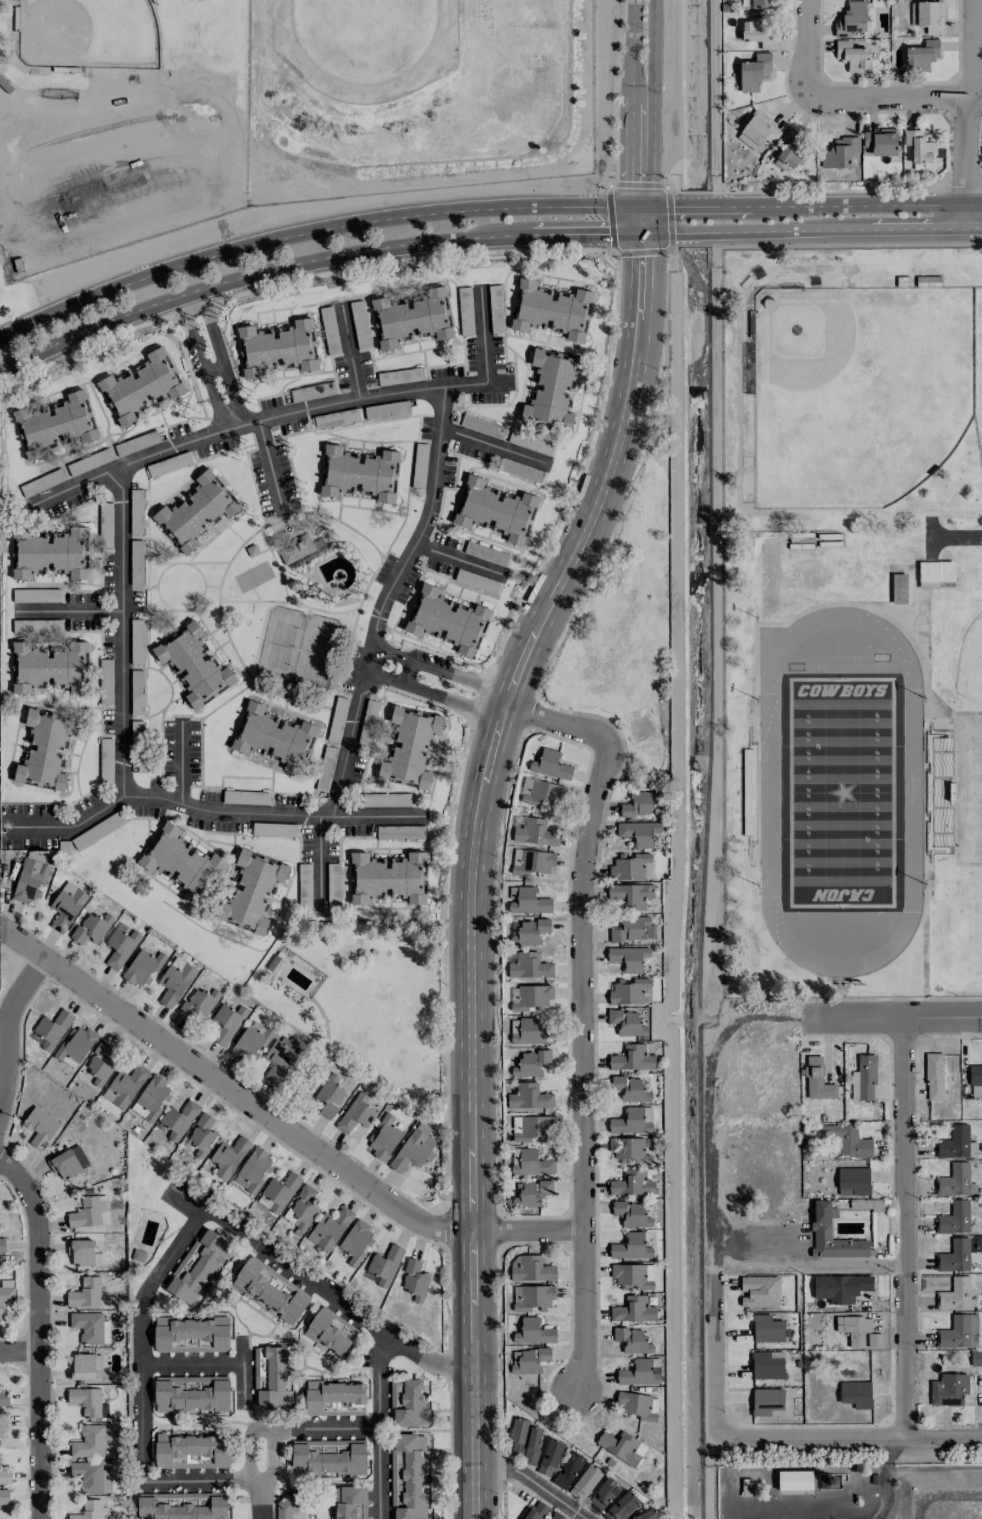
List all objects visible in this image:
building: (763, 3)
building: (930, 16)
building: (851, 18)
building: (758, 31)
park: (135, 34)
track: (366, 41)
road: (808, 52)
building: (922, 54)
building: (852, 55)
building: (754, 71)
road: (612, 92)
road: (714, 95)
road: (970, 101)
road: (895, 102)
road: (632, 103)
road: (649, 103)
building: (758, 131)
building: (881, 141)
building: (919, 145)
building: (789, 149)
building: (840, 152)
road: (846, 203)
road: (660, 205)
road: (696, 206)
road: (965, 215)
road: (641, 218)
road: (846, 229)
road: (310, 231)
road: (661, 232)
road: (696, 232)
road: (614, 245)
road: (311, 260)
road: (616, 274)
building: (551, 308)
building: (412, 317)
road: (664, 330)
building: (278, 347)
road: (354, 352)
road: (213, 358)
park: (979, 382)
building: (141, 385)
building: (552, 389)
park: (858, 390)
road: (293, 412)
building: (55, 424)
road: (495, 446)
road: (270, 465)
building: (360, 472)
building: (494, 509)
building: (197, 510)
building: (296, 549)
building: (49, 552)
road: (459, 558)
building: (937, 572)
building: (900, 588)
road: (389, 599)
road: (72, 610)
road: (718, 616)
building: (448, 620)
road: (122, 630)
park: (971, 663)
building: (194, 664)
building: (49, 666)
building: (106, 668)
road: (380, 677)
road: (448, 693)
building: (272, 736)
building: (410, 747)
building: (45, 749)
road: (180, 762)
building: (550, 764)
building: (527, 784)
building: (544, 795)
building: (641, 803)
road: (208, 811)
building: (639, 831)
building: (535, 832)
road: (320, 860)
road: (471, 860)
building: (181, 861)
building: (531, 861)
building: (632, 866)
building: (31, 877)
building: (387, 877)
building: (251, 891)
building: (630, 894)
road: (675, 894)
building: (529, 901)
building: (66, 905)
building: (91, 927)
building: (634, 929)
building: (527, 931)
building: (120, 946)
building: (629, 957)
building: (529, 965)
building: (143, 967)
building: (175, 980)
building: (631, 991)
building: (532, 997)
building: (198, 1004)
road: (12, 1010)
road: (580, 1014)
road: (891, 1017)
building: (627, 1022)
building: (225, 1023)
building: (52, 1028)
building: (530, 1032)
building: (250, 1042)
building: (75, 1046)
building: (632, 1057)
building: (278, 1058)
building: (101, 1062)
building: (531, 1062)
building: (934, 1074)
building: (975, 1074)
building: (864, 1078)
building: (818, 1080)
building: (125, 1085)
building: (628, 1089)
building: (529, 1096)
building: (151, 1098)
building: (327, 1098)
building: (356, 1113)
building: (178, 1119)
building: (628, 1119)
road: (278, 1125)
building: (40, 1126)
building: (535, 1128)
building: (201, 1135)
building: (384, 1138)
building: (847, 1140)
building: (957, 1143)
building: (413, 1148)
building: (629, 1149)
building: (229, 1156)
building: (532, 1163)
building: (65, 1164)
building: (254, 1169)
building: (853, 1180)
building: (956, 1180)
building: (633, 1183)
building: (279, 1191)
building: (527, 1192)
building: (302, 1208)
building: (90, 1211)
building: (632, 1213)
building: (954, 1217)
building: (821, 1225)
building: (329, 1228)
road: (905, 1228)
building: (356, 1241)
building: (2, 1244)
building: (631, 1246)
building: (83, 1252)
building: (139, 1255)
building: (955, 1255)
road: (834, 1262)
building: (385, 1264)
building: (197, 1266)
building: (533, 1269)
building: (632, 1275)
building: (415, 1279)
building: (841, 1287)
building: (269, 1289)
building: (760, 1290)
building: (86, 1292)
building: (956, 1294)
building: (7, 1295)
road: (336, 1297)
building: (633, 1309)
road: (711, 1321)
building: (91, 1326)
building: (767, 1328)
building: (331, 1330)
building: (859, 1330)
building: (534, 1331)
building: (960, 1331)
building: (191, 1334)
road: (143, 1335)
road: (38, 1337)
building: (633, 1340)
road: (19, 1357)
building: (976, 1357)
building: (531, 1360)
road: (194, 1364)
building: (767, 1364)
building: (82, 1366)
building: (639, 1372)
building: (270, 1376)
building: (949, 1389)
building: (191, 1392)
building: (856, 1393)
building: (4, 1397)
building: (335, 1398)
building: (767, 1400)
building: (88, 1401)
building: (407, 1401)
building: (638, 1403)
building: (1, 1424)
road: (379, 1425)
road: (320, 1428)
building: (517, 1435)
road: (846, 1438)
building: (91, 1441)
building: (533, 1445)
building: (622, 1446)
building: (192, 1450)
building: (328, 1456)
building: (550, 1457)
building: (568, 1469)
road: (261, 1473)
building: (5, 1475)
building: (91, 1476)
building: (407, 1476)
building: (795, 1479)
road: (531, 1480)
building: (586, 1480)
road: (203, 1481)
building: (603, 1495)
building: (4, 1496)
building: (349, 1502)
building: (288, 1504)
building: (182, 1505)
building: (621, 1506)
building: (89, 1510)
building: (536, 1510)
building: (556, 1515)
building: (646, 1515)

